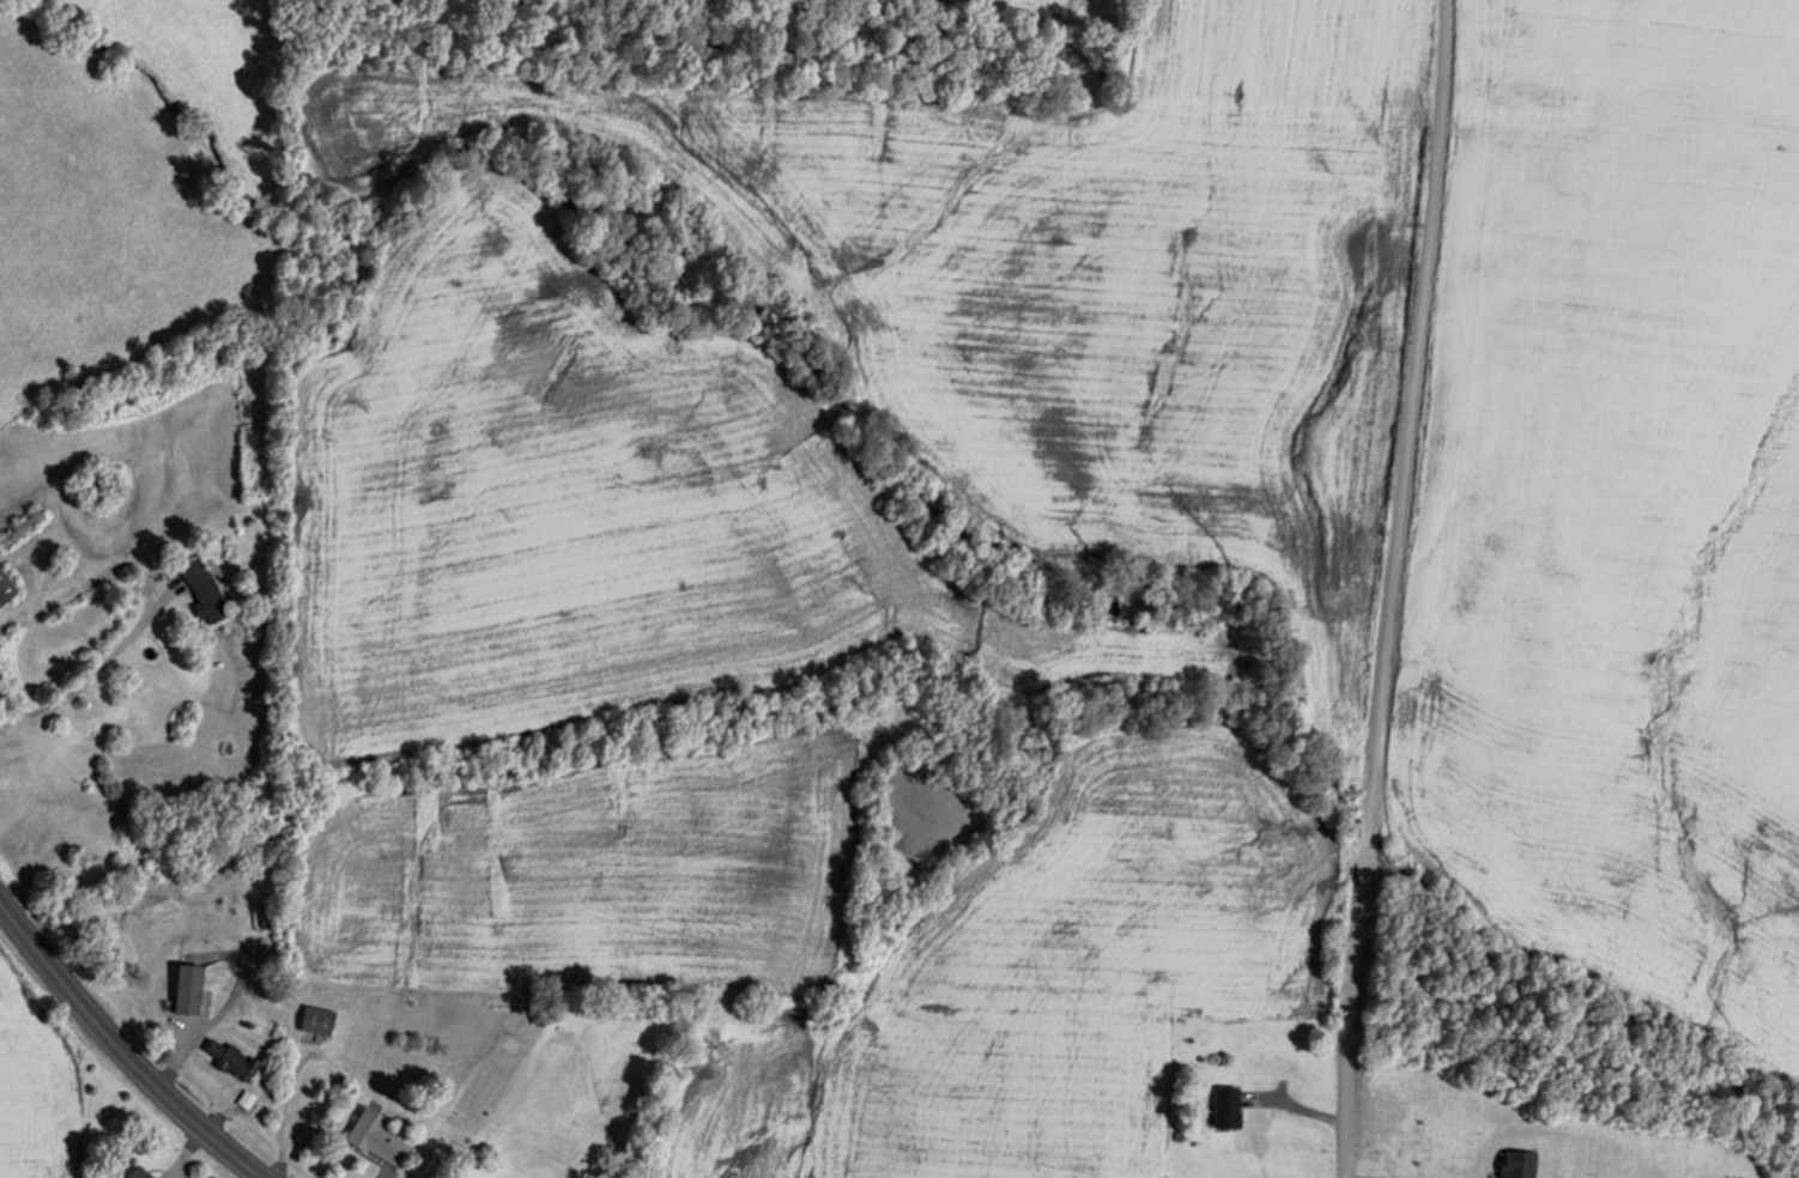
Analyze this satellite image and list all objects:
building: (22, 528)
building: (6, 587)
road: (1358, 588)
building: (206, 590)
building: (189, 988)
road: (218, 1012)
building: (320, 1019)
road: (122, 1048)
building: (234, 1058)
building: (1228, 1106)
building: (377, 1136)
building: (140, 1173)

